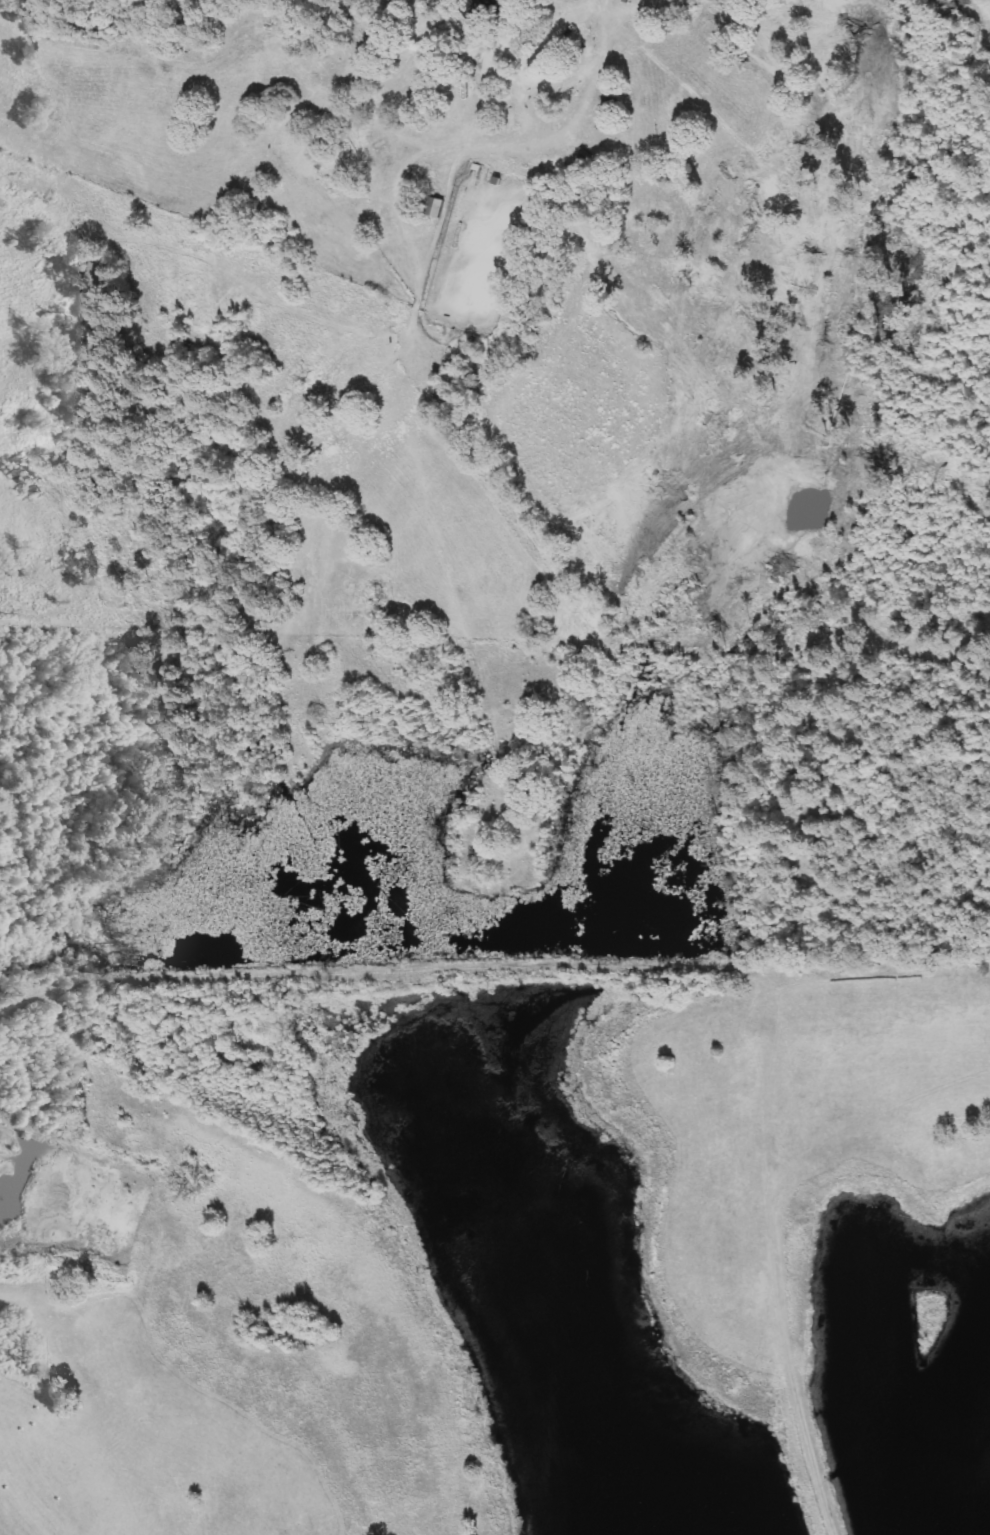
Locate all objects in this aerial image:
building: (435, 208)

